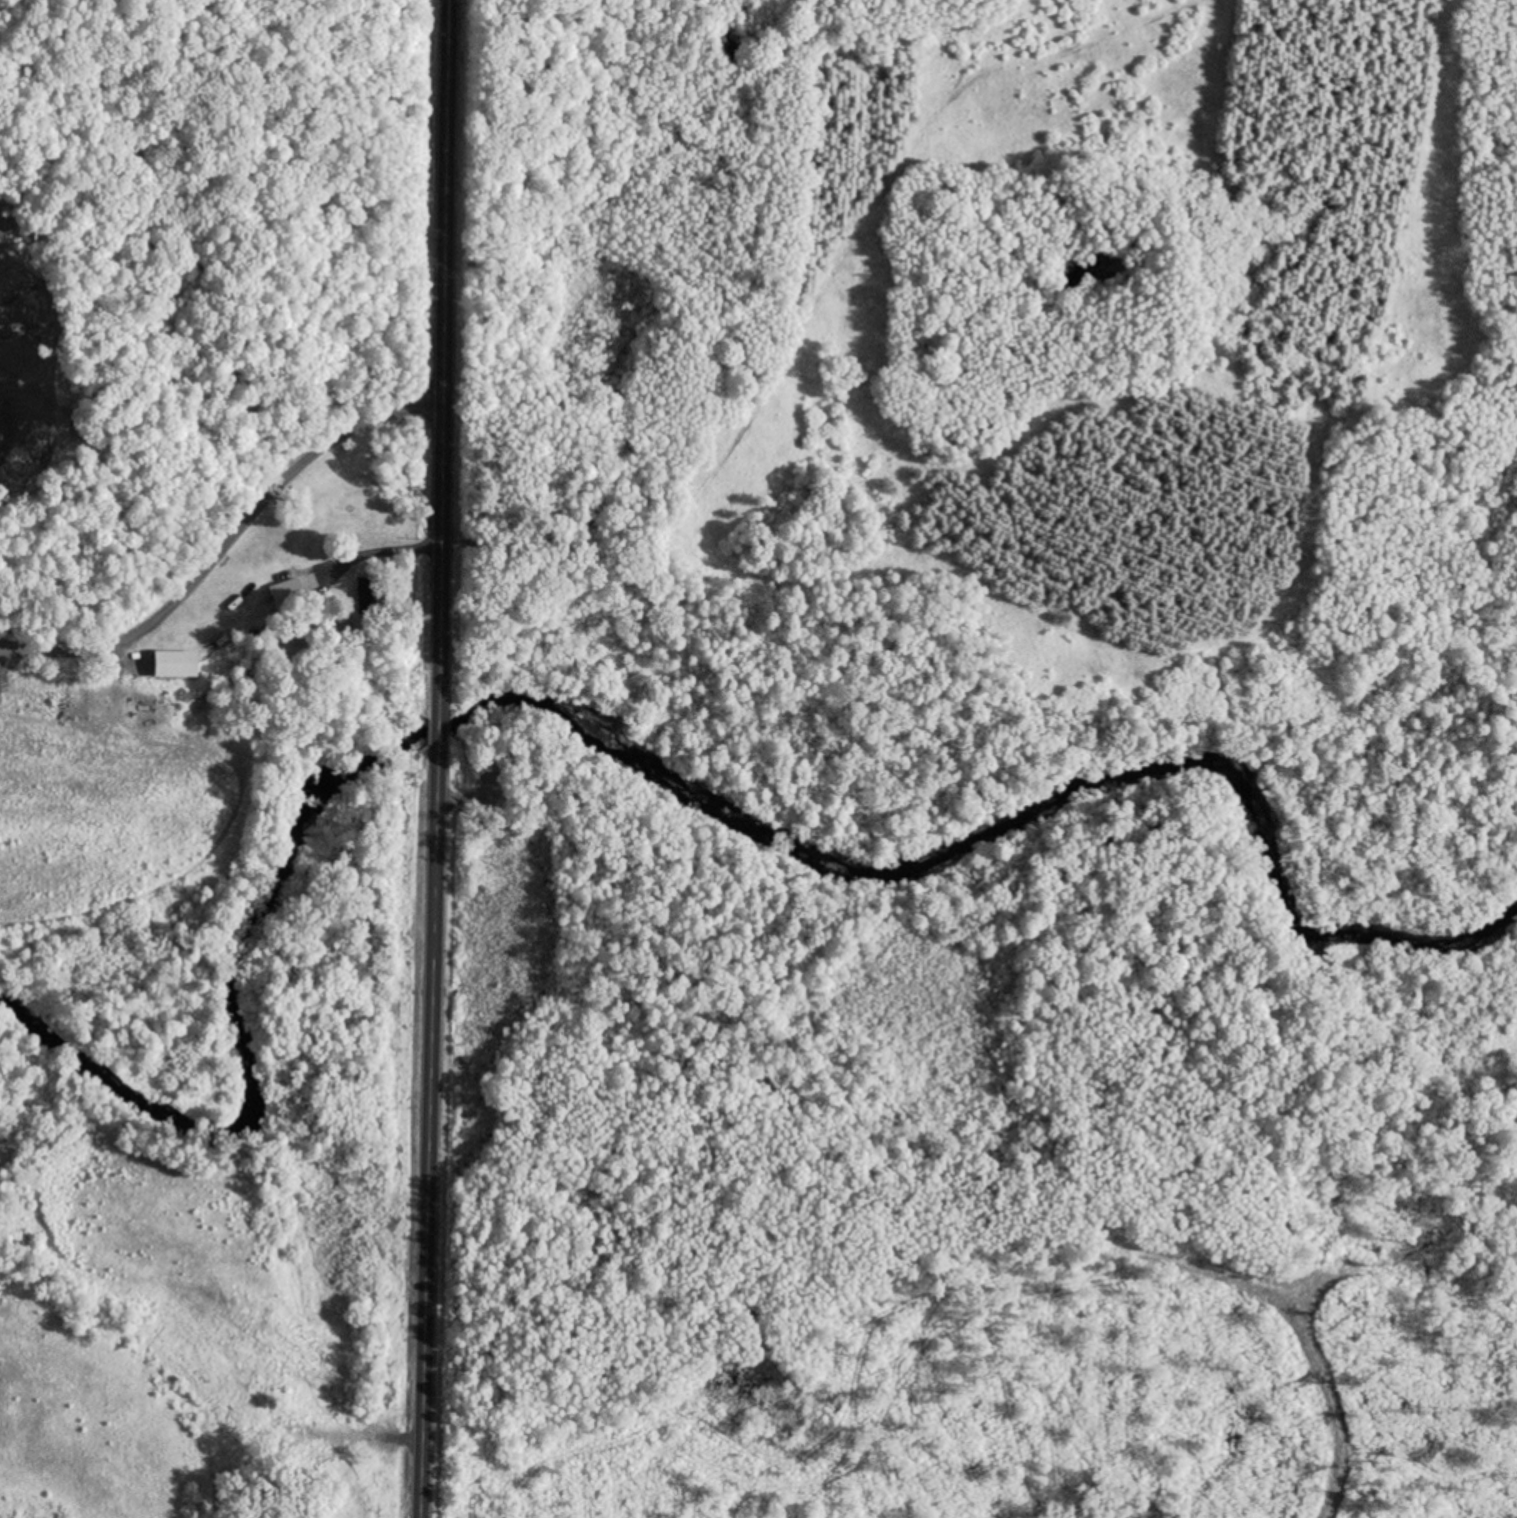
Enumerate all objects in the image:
road: (447, 352)
quarry: (27, 443)
road: (224, 540)
building: (285, 594)
building: (364, 598)
building: (172, 666)
river: (502, 723)
road: (439, 731)
river: (1341, 939)
road: (428, 1138)

